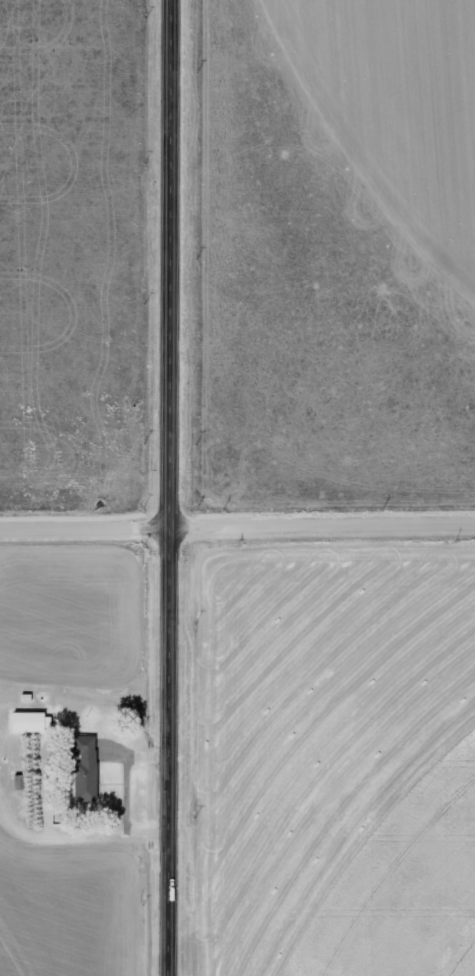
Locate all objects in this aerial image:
road: (172, 488)
road: (237, 529)
building: (31, 724)
building: (85, 761)

